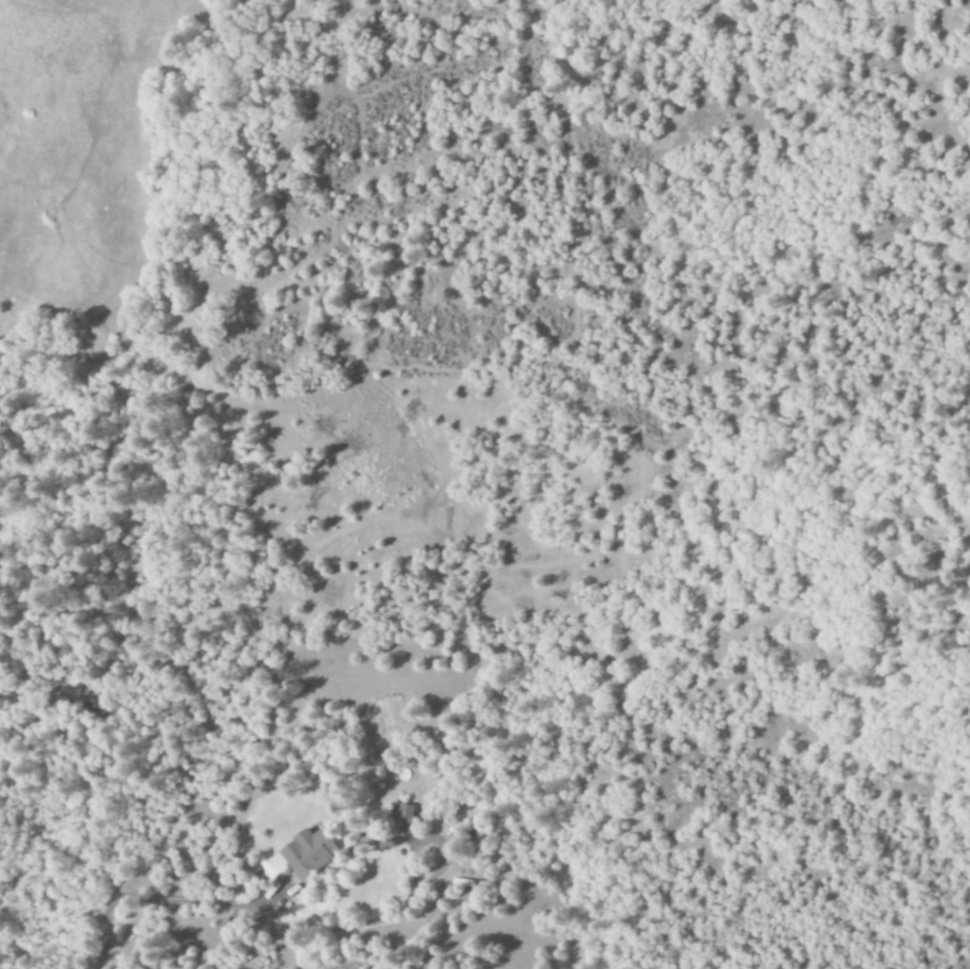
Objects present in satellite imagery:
building: (401, 814)
building: (308, 853)

